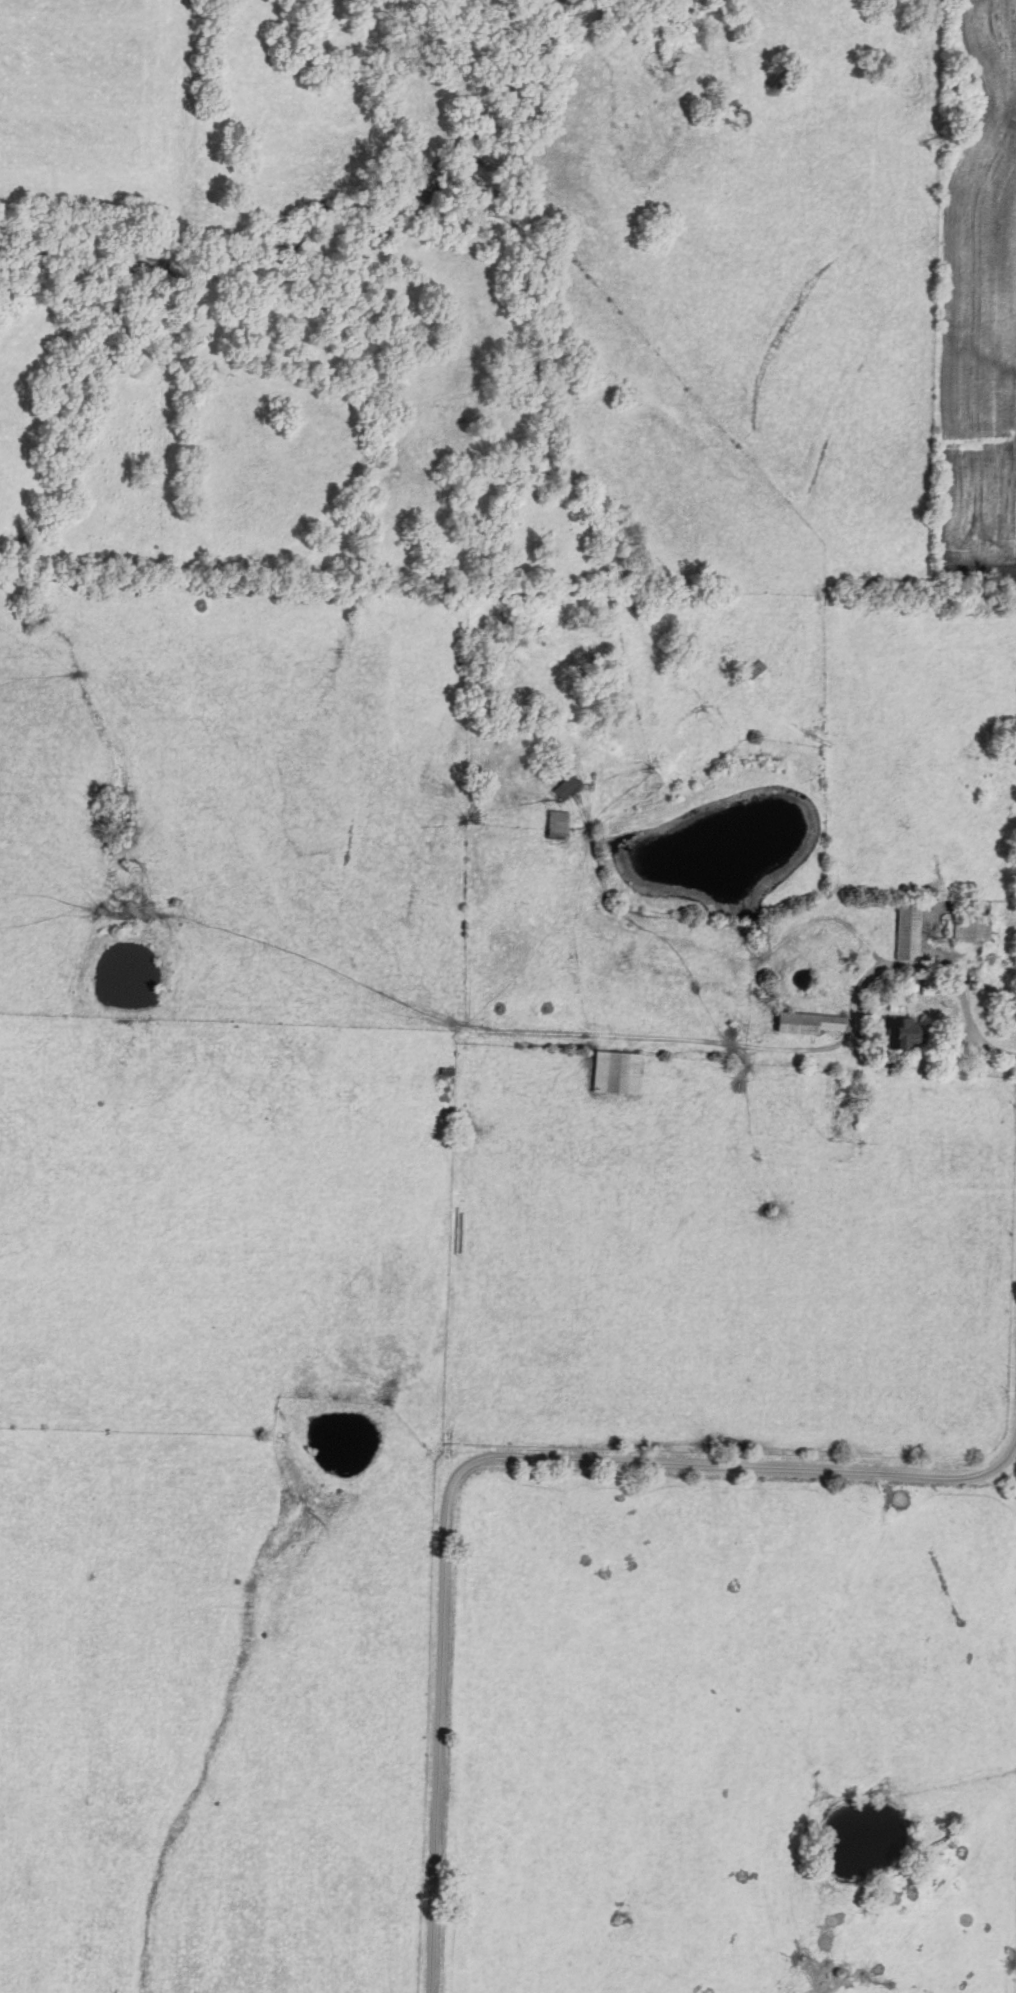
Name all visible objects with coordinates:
building: (756, 670)
building: (565, 788)
building: (557, 823)
building: (906, 930)
building: (971, 930)
building: (808, 1024)
building: (903, 1033)
building: (617, 1073)
road: (557, 1464)

